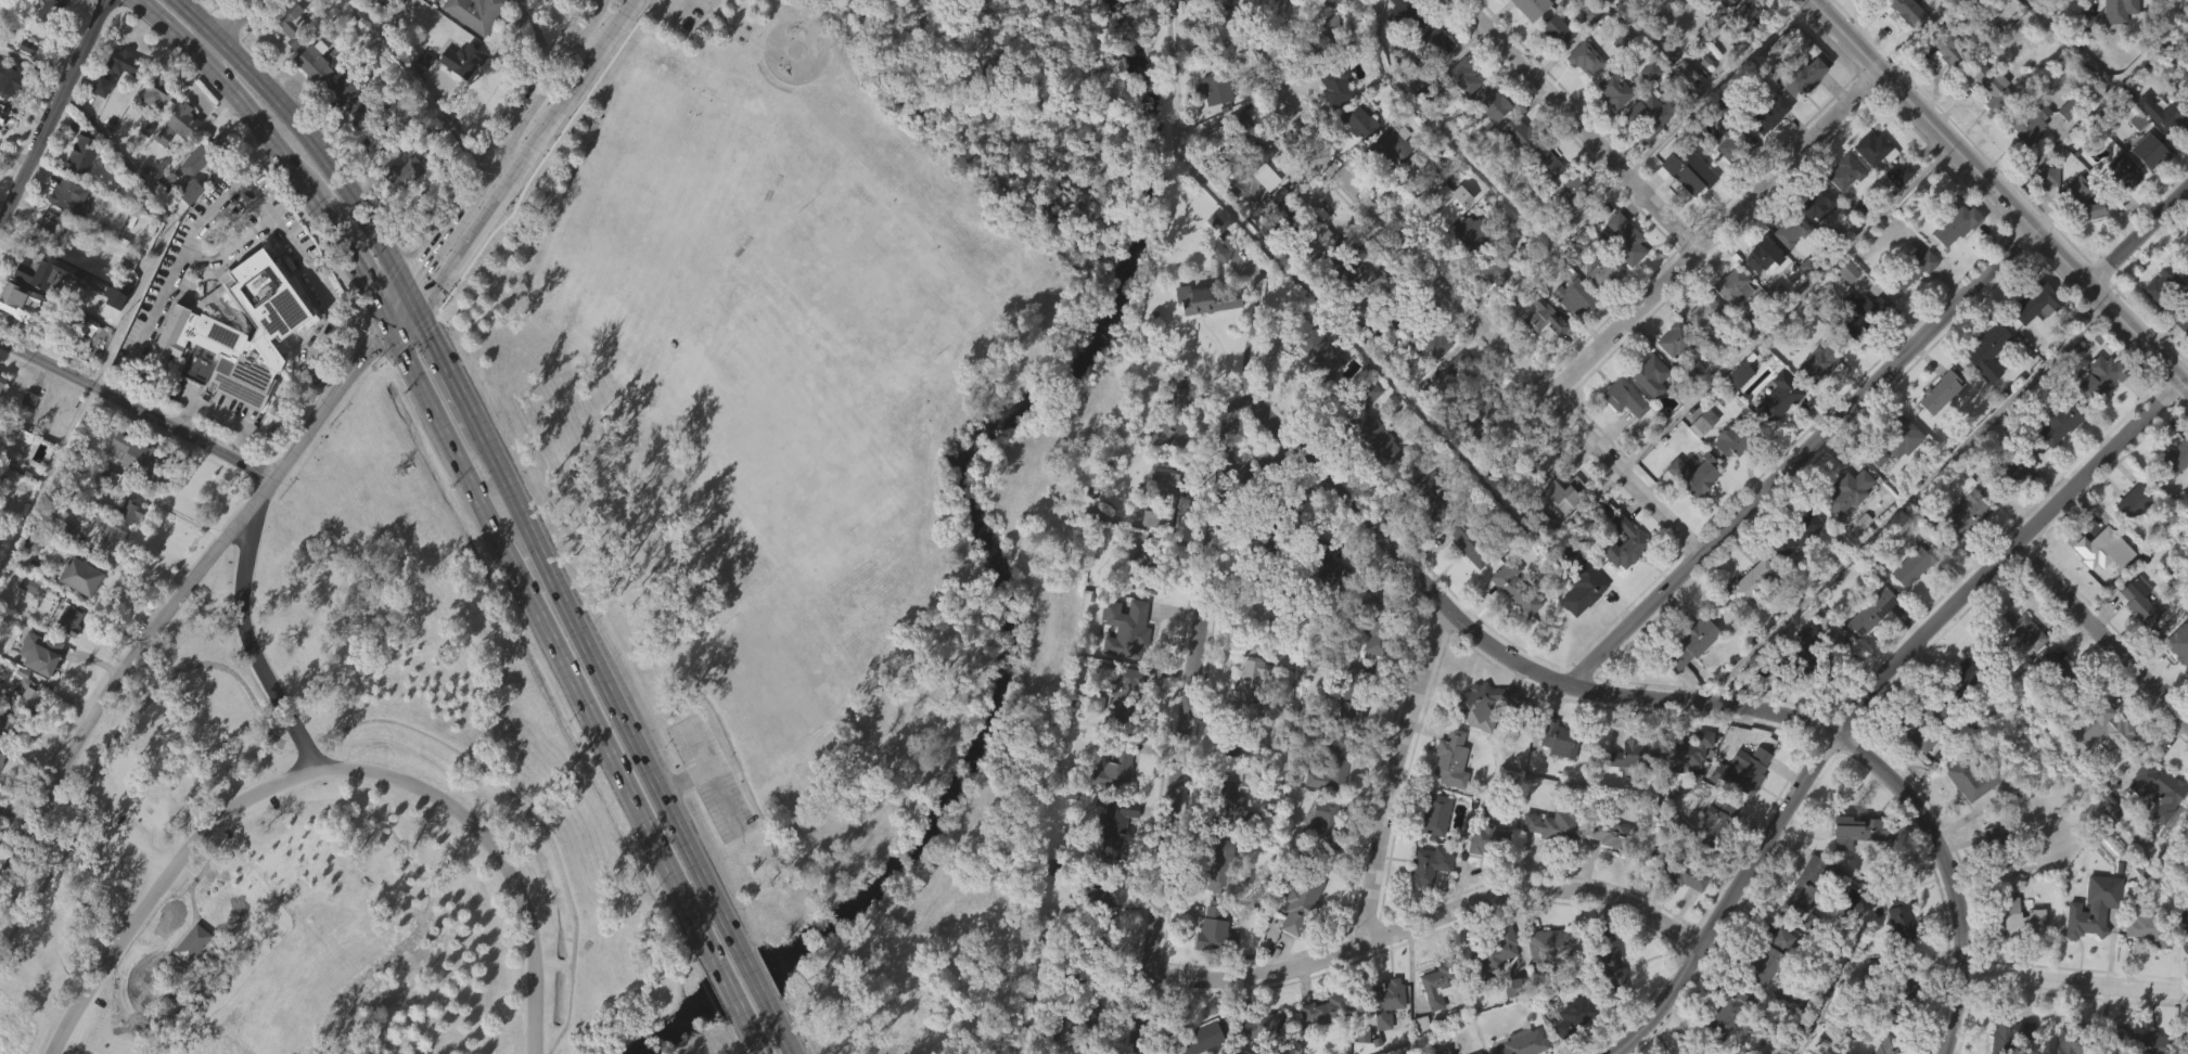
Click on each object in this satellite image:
building: (338, 2)
building: (1331, 3)
building: (1729, 3)
building: (209, 4)
building: (1878, 5)
building: (2158, 5)
building: (1531, 8)
building: (1692, 8)
building: (48, 10)
building: (2121, 10)
road: (371, 12)
building: (1909, 12)
building: (475, 13)
building: (516, 13)
building: (1500, 13)
parking lot: (686, 14)
building: (7, 16)
building: (1409, 16)
building: (1748, 16)
building: (2089, 16)
building: (291, 25)
building: (1719, 28)
building: (1214, 29)
building: (1554, 29)
road: (229, 31)
building: (1325, 37)
building: (50, 39)
building: (2115, 39)
building: (1525, 40)
building: (1952, 47)
building: (1431, 48)
building: (1903, 49)
building: (1400, 52)
building: (1743, 52)
building: (1584, 56)
building: (2082, 60)
building: (314, 61)
building: (461, 61)
building: (287, 63)
building: (118, 69)
building: (1321, 70)
building: (1552, 70)
building: (1466, 76)
building: (10, 77)
building: (1806, 78)
building: (1433, 82)
building: (23, 85)
building: (1943, 85)
road: (422, 86)
building: (1335, 86)
building: (1219, 87)
building: (2000, 87)
building: (1612, 88)
building: (155, 91)
building: (38, 93)
road: (226, 93)
building: (344, 94)
building: (309, 98)
building: (1582, 98)
building: (421, 99)
building: (459, 100)
building: (1489, 102)
building: (1684, 107)
building: (112, 108)
building: (1, 111)
road: (53, 111)
building: (1802, 114)
building: (2173, 115)
building: (1460, 116)
building: (1766, 116)
building: (1650, 117)
building: (1359, 121)
building: (2033, 121)
building: (177, 123)
building: (1331, 125)
road: (1579, 125)
building: (1987, 125)
building: (1212, 128)
building: (1610, 128)
road: (307, 130)
building: (1521, 132)
building: (343, 134)
building: (152, 136)
building: (1236, 136)
building: (378, 138)
road: (1948, 141)
road: (506, 142)
building: (1486, 142)
building: (1733, 143)
building: (1392, 144)
building: (213, 147)
building: (1871, 149)
building: (2061, 149)
building: (1, 150)
building: (80, 153)
building: (2153, 153)
road: (529, 154)
building: (1762, 154)
building: (1643, 155)
building: (1547, 159)
building: (2026, 160)
building: (2133, 160)
building: (1354, 162)
building: (175, 164)
building: (142, 167)
building: (406, 170)
building: (1846, 171)
building: (1512, 172)
building: (2119, 172)
building: (1417, 175)
building: (1699, 178)
building: (1253, 180)
building: (1729, 182)
building: (1390, 185)
building: (1871, 188)
building: (189, 190)
building: (2145, 190)
building: (69, 196)
building: (1569, 196)
park: (662, 198)
building: (1540, 201)
building: (1816, 201)
building: (1450, 203)
building: (2089, 204)
building: (1283, 206)
building: (2120, 210)
building: (1841, 211)
building: (400, 213)
building: (1897, 214)
building: (2045, 215)
building: (1692, 217)
building: (187, 218)
building: (1959, 223)
building: (42, 228)
building: (1240, 228)
building: (1789, 228)
building: (1319, 230)
road: (1715, 230)
road: (251, 233)
building: (1564, 233)
road: (2138, 233)
building: (1471, 234)
building: (66, 235)
building: (1626, 239)
building: (1814, 241)
building: (1448, 244)
building: (2088, 244)
building: (1278, 252)
building: (1760, 254)
road: (349, 257)
building: (1347, 257)
building: (2185, 258)
building: (47, 261)
building: (1950, 263)
building: (1495, 267)
building: (1914, 267)
building: (1602, 269)
building: (1786, 270)
building: (1463, 273)
building: (1620, 278)
building: (1313, 279)
park: (872, 282)
traffic signals: (407, 284)
building: (1735, 285)
building: (2166, 285)
building: (1206, 290)
building: (1368, 291)
road: (1456, 291)
building: (1573, 293)
building: (1755, 294)
road: (410, 295)
building: (2183, 297)
building: (11, 298)
road: (397, 301)
building: (2037, 301)
traffic signals: (415, 306)
building: (1908, 308)
building: (1492, 309)
building: (1598, 309)
road: (401, 312)
building: (1859, 313)
building: (1540, 317)
building: (1391, 318)
traffic signals: (388, 319)
building: (1689, 323)
building: (2160, 324)
building: (1728, 325)
building: (199, 331)
building: (1568, 335)
road: (2138, 335)
building: (1203, 339)
building: (16, 340)
building: (2032, 342)
building: (1432, 343)
building: (1315, 346)
building: (1354, 347)
building: (1988, 350)
building: (1699, 351)
building: (1858, 355)
building: (1539, 357)
building: (2177, 358)
building: (1817, 362)
road: (2180, 365)
road: (445, 367)
building: (2107, 374)
building: (1457, 375)
building: (1647, 375)
building: (1740, 375)
building: (1669, 377)
building: (1, 380)
building: (1430, 383)
building: (1313, 386)
building: (1983, 390)
building: (1942, 391)
building: (1626, 397)
road: (330, 399)
building: (1781, 400)
building: (1812, 402)
building: (1453, 407)
road: (137, 408)
building: (1476, 410)
road: (218, 413)
building: (1646, 413)
building: (1735, 414)
building: (1173, 415)
building: (2090, 416)
building: (1, 419)
building: (2060, 422)
building: (1935, 432)
building: (1505, 435)
building: (1620, 436)
building: (1739, 436)
building: (1376, 437)
building: (26, 438)
building: (1897, 440)
park: (781, 441)
building: (1771, 441)
park: (847, 447)
building: (1474, 448)
road: (1802, 454)
building: (1538, 458)
building: (2176, 458)
building: (1701, 459)
building: (141, 461)
building: (2053, 461)
building: (2013, 472)
building: (1694, 475)
building: (1370, 476)
building: (1725, 480)
building: (1891, 481)
building: (1431, 489)
building: (1850, 490)
building: (1564, 492)
building: (2173, 494)
road: (258, 496)
building: (136, 497)
building: (1532, 498)
building: (1160, 500)
building: (2135, 500)
building: (2011, 506)
building: (128, 512)
building: (1690, 512)
building: (1967, 515)
building: (1271, 529)
building: (1843, 529)
building: (1559, 531)
building: (1423, 534)
building: (1799, 534)
building: (111, 540)
building: (2129, 540)
building: (1470, 541)
building: (1625, 542)
building: (2099, 547)
building: (128, 551)
building: (1960, 555)
building: (1916, 564)
building: (1146, 566)
building: (1327, 568)
building: (1792, 573)
building: (77, 576)
building: (1464, 581)
building: (1620, 581)
building: (1751, 583)
building: (2091, 586)
building: (1517, 588)
building: (1584, 588)
building: (1140, 593)
building: (2141, 601)
building: (1908, 605)
building: (1322, 606)
building: (1265, 607)
building: (1873, 610)
building: (1376, 616)
road: (547, 617)
building: (67, 620)
building: (25, 622)
building: (1125, 626)
building: (1511, 627)
building: (1579, 631)
building: (2019, 631)
road: (2102, 634)
building: (2134, 638)
building: (1691, 641)
building: (2177, 646)
road: (249, 647)
building: (1867, 650)
building: (42, 654)
building: (1806, 657)
building: (66, 659)
road: (599, 668)
building: (2014, 668)
building: (1968, 672)
building: (1258, 676)
building: (2061, 676)
building: (1371, 677)
park: (767, 678)
building: (1688, 681)
building: (2176, 682)
road: (112, 684)
building: (1804, 684)
building: (1354, 691)
building: (1127, 693)
building: (1096, 695)
road: (1869, 695)
building: (1487, 697)
road: (1654, 697)
building: (28, 698)
building: (1279, 699)
road: (1187, 702)
building: (2049, 706)
building: (1960, 711)
building: (1927, 719)
building: (9, 724)
building: (2116, 730)
building: (1123, 733)
building: (1239, 734)
building: (1347, 734)
building: (1560, 738)
building: (28, 740)
building: (1479, 743)
road: (303, 745)
building: (1634, 754)
building: (1449, 755)
building: (1687, 756)
building: (1, 757)
building: (1333, 763)
building: (1905, 764)
building: (1114, 768)
building: (2097, 769)
road: (1395, 772)
building: (1743, 772)
building: (1556, 777)
building: (1975, 777)
building: (1233, 786)
building: (2160, 788)
building: (1684, 793)
building: (1, 795)
building: (1329, 805)
building: (1110, 808)
building: (1739, 808)
building: (1234, 812)
building: (1436, 813)
road: (13, 814)
park: (343, 817)
building: (1967, 818)
building: (1719, 822)
building: (1113, 827)
building: (2153, 827)
parking lot: (231, 828)
building: (1552, 828)
building: (1323, 830)
parking lot: (120, 831)
building: (1863, 832)
road: (1800, 834)
building: (1618, 837)
building: (1225, 839)
building: (1490, 841)
road: (140, 843)
building: (2001, 849)
road: (492, 853)
building: (2187, 853)
building: (1710, 856)
building: (1110, 859)
building: (1320, 861)
building: (1224, 863)
building: (1553, 863)
building: (1428, 866)
building: (1855, 869)
building: (1603, 871)
building: (1679, 873)
building: (1989, 873)
road: (123, 877)
building: (1484, 878)
road: (157, 886)
building: (1808, 891)
building: (1095, 901)
building: (1302, 902)
building: (1423, 904)
building: (1213, 905)
building: (1678, 913)
building: (2086, 914)
building: (2187, 914)
building: (1904, 918)
road: (1430, 920)
building: (1805, 923)
building: (2022, 924)
building: (2148, 927)
building: (1215, 933)
building: (1092, 939)
building: (1784, 940)
building: (1296, 943)
building: (191, 944)
building: (2088, 944)
building: (1494, 952)
building: (1547, 952)
building: (1612, 959)
building: (2016, 959)
building: (1095, 963)
road: (548, 964)
building: (1764, 965)
road: (751, 966)
building: (1212, 968)
road: (729, 977)
building: (2185, 978)
building: (1546, 981)
road: (2075, 981)
building: (188, 982)
building: (1437, 985)
building: (1895, 986)
building: (1490, 989)
building: (1763, 995)
building: (1607, 998)
building: (1387, 1002)
building: (1326, 1010)
building: (1729, 1012)
building: (1574, 1016)
building: (1087, 1024)
building: (1431, 1024)
building: (1262, 1025)
building: (1859, 1031)
building: (1384, 1032)
building: (2010, 1034)
building: (2184, 1034)
road: (786, 1039)
building: (1194, 1039)
building: (2080, 1040)
building: (1727, 1041)
building: (2137, 1042)
building: (1521, 1043)
road: (763, 1044)
building: (1325, 1045)
building: (1573, 1045)
building: (1889, 1045)
building: (1442, 1051)
building: (1475, 1052)
building: (1270, 1053)
building: (1702, 1053)

